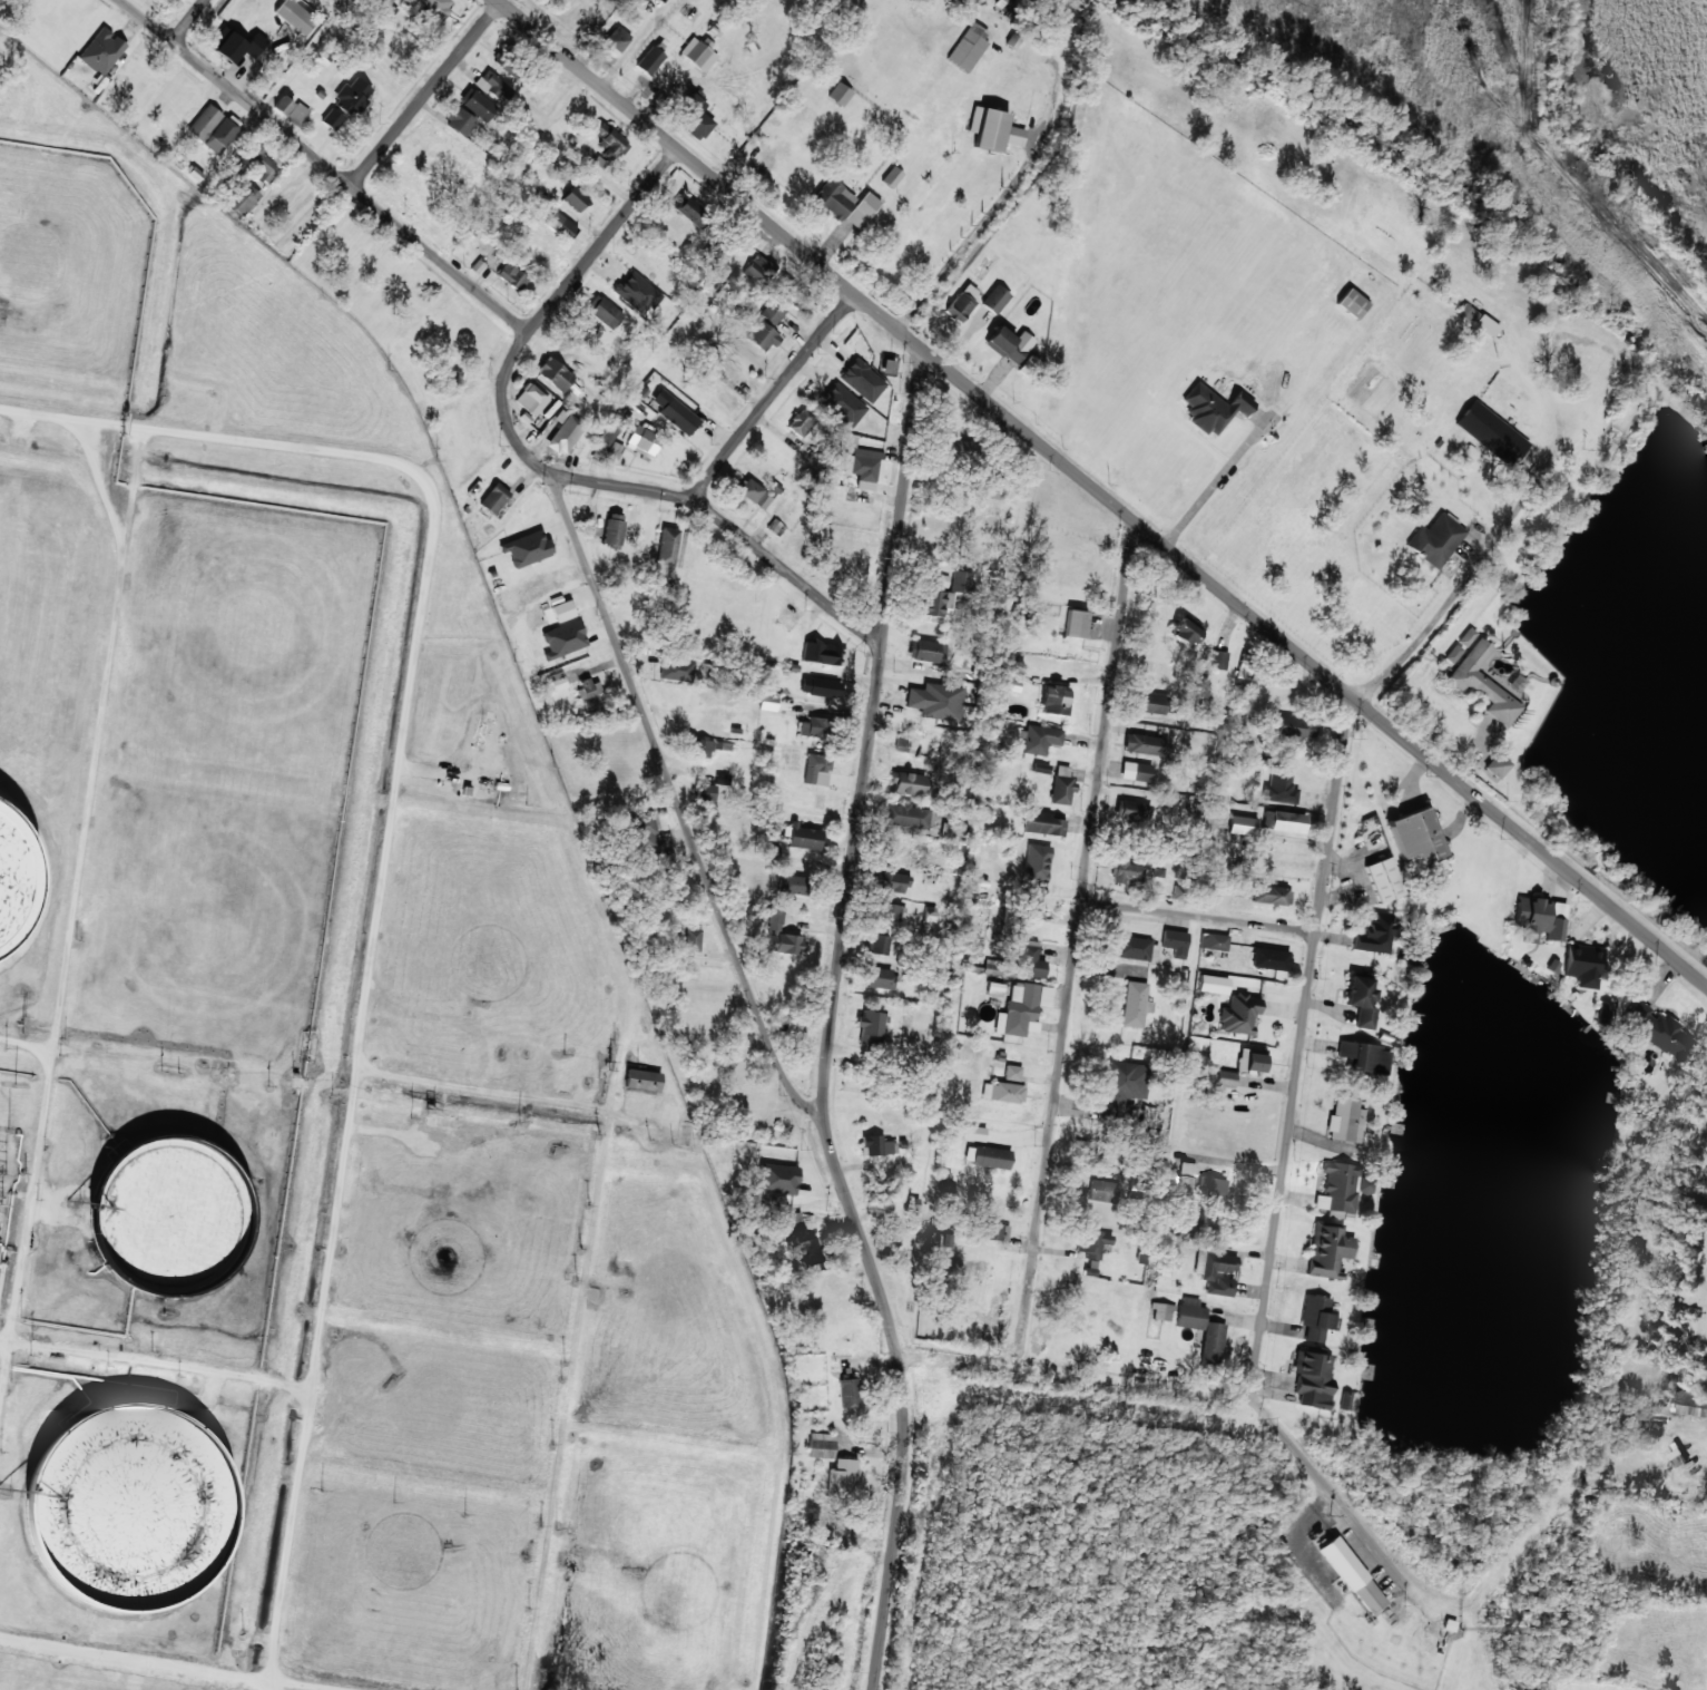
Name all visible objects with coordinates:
building: (587, 0)
building: (409, 1)
building: (1003, 3)
building: (436, 7)
building: (597, 12)
building: (295, 17)
road: (193, 21)
building: (615, 40)
building: (235, 45)
building: (968, 47)
building: (101, 51)
building: (698, 53)
building: (649, 60)
building: (491, 85)
building: (838, 94)
road: (428, 95)
building: (352, 96)
building: (283, 105)
building: (477, 105)
building: (298, 114)
building: (694, 118)
building: (332, 119)
building: (459, 121)
building: (213, 129)
building: (992, 129)
building: (609, 141)
building: (258, 162)
road: (328, 166)
building: (891, 177)
building: (242, 199)
building: (575, 199)
building: (842, 204)
building: (690, 212)
building: (559, 225)
road: (607, 241)
building: (758, 271)
building: (512, 276)
building: (637, 293)
building: (994, 300)
building: (1352, 303)
building: (961, 304)
building: (605, 312)
building: (765, 328)
building: (1005, 344)
building: (887, 365)
building: (555, 374)
building: (862, 380)
road: (776, 397)
building: (531, 399)
building: (842, 404)
building: (1209, 409)
building: (675, 412)
building: (801, 422)
building: (1485, 428)
building: (565, 431)
building: (608, 434)
building: (847, 439)
building: (640, 440)
building: (958, 448)
building: (615, 450)
building: (864, 467)
road: (1102, 492)
road: (660, 494)
building: (755, 495)
building: (498, 500)
building: (776, 528)
building: (614, 529)
building: (1435, 540)
building: (527, 548)
building: (666, 551)
building: (961, 582)
building: (936, 603)
building: (1075, 624)
building: (1185, 633)
building: (1466, 637)
building: (563, 639)
building: (925, 651)
building: (823, 654)
building: (1452, 654)
building: (1219, 660)
building: (676, 670)
building: (1247, 671)
building: (1011, 678)
building: (557, 681)
building: (1482, 684)
building: (816, 687)
building: (586, 691)
building: (935, 701)
building: (1056, 701)
building: (1151, 703)
building: (1214, 713)
building: (815, 727)
building: (1303, 727)
building: (1040, 739)
building: (1146, 745)
building: (712, 748)
building: (1497, 765)
building: (1040, 768)
building: (816, 769)
building: (1136, 771)
building: (723, 775)
building: (908, 783)
building: (1278, 785)
building: (1061, 789)
building: (704, 791)
road: (679, 800)
building: (1127, 814)
building: (906, 815)
building: (1287, 821)
building: (1042, 823)
building: (1242, 826)
building: (952, 830)
building: (804, 837)
building: (1416, 837)
building: (772, 852)
road: (385, 866)
building: (1126, 872)
building: (11, 878)
storage tank: (11, 878)
building: (1383, 879)
building: (792, 883)
building: (1271, 895)
building: (890, 914)
building: (769, 916)
road: (1200, 917)
building: (1540, 919)
road: (71, 925)
building: (1375, 934)
building: (693, 939)
building: (1214, 941)
building: (784, 942)
building: (1175, 942)
building: (877, 944)
building: (1136, 948)
building: (1034, 958)
building: (1271, 959)
building: (1582, 965)
building: (994, 967)
building: (880, 978)
building: (1213, 984)
building: (994, 989)
road: (1069, 1000)
building: (1361, 1000)
building: (1022, 1008)
building: (1238, 1015)
road: (832, 1023)
building: (871, 1027)
building: (1656, 1029)
road: (27, 1045)
road: (1302, 1045)
building: (1364, 1057)
building: (1250, 1062)
building: (1012, 1073)
building: (642, 1080)
building: (1224, 1080)
building: (1122, 1081)
building: (1002, 1092)
building: (1149, 1120)
building: (1345, 1120)
building: (974, 1133)
building: (877, 1145)
building: (987, 1156)
building: (1706, 1166)
building: (777, 1179)
building: (1210, 1186)
building: (1338, 1190)
building: (1101, 1191)
building: (165, 1215)
storage tank: (165, 1215)
building: (995, 1231)
building: (799, 1238)
building: (1092, 1242)
building: (1328, 1250)
road: (717, 1256)
building: (1216, 1266)
building: (1090, 1269)
building: (1220, 1287)
building: (1161, 1311)
building: (1315, 1317)
building: (1201, 1329)
building: (1313, 1379)
building: (848, 1393)
road: (569, 1400)
building: (1348, 1401)
building: (1690, 1403)
building: (821, 1445)
building: (841, 1478)
building: (118, 1501)
storage tank: (118, 1501)
building: (1352, 1575)
road: (170, 1664)

